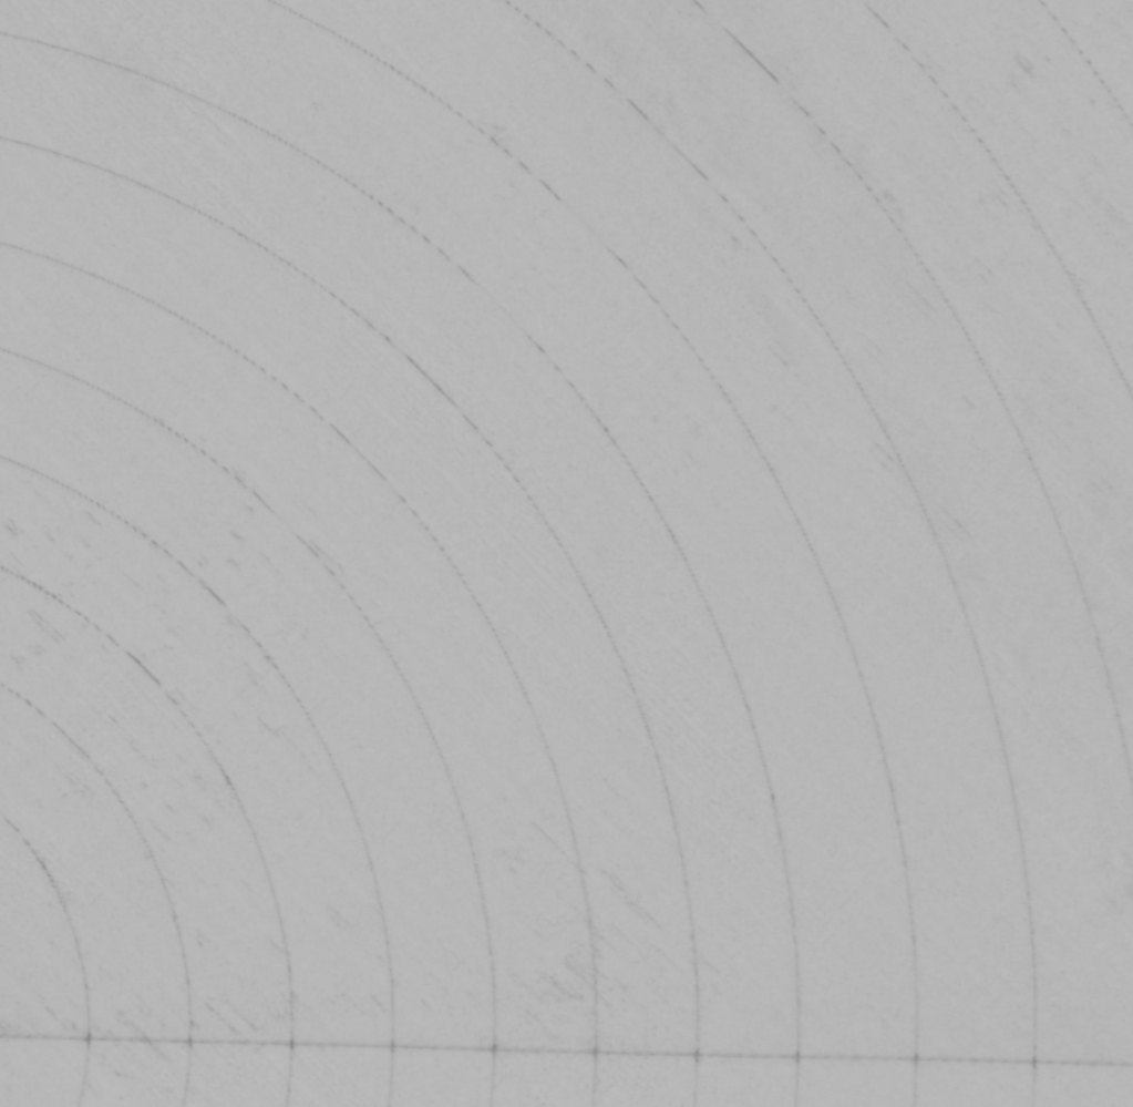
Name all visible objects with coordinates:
building: (17, 848)

